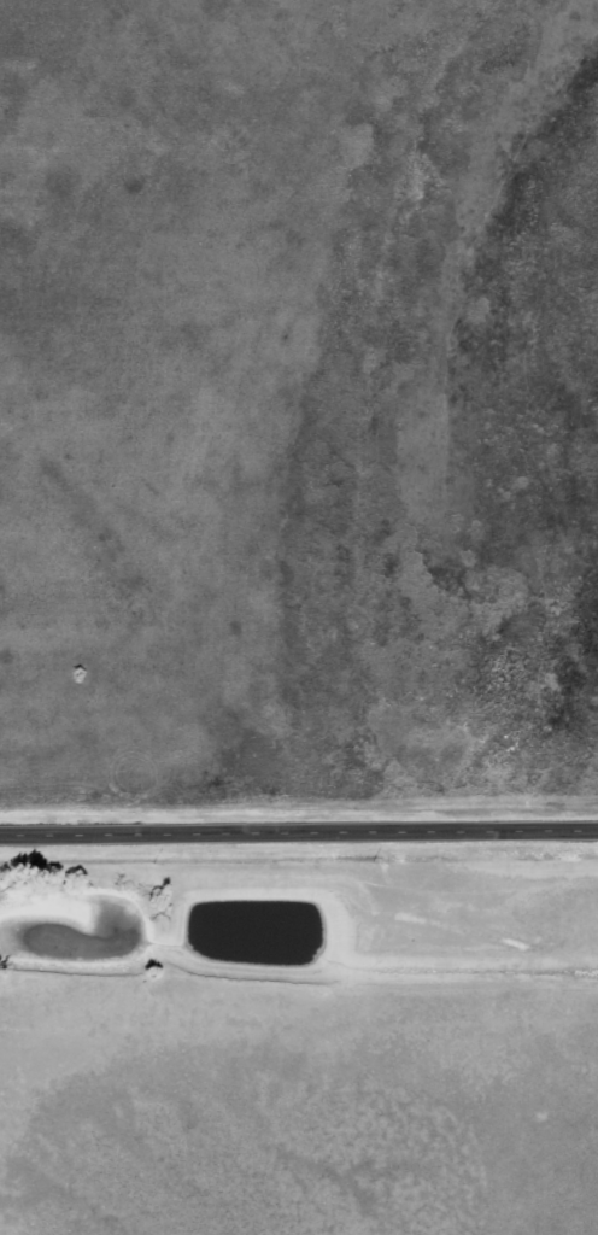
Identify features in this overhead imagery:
road: (299, 841)

